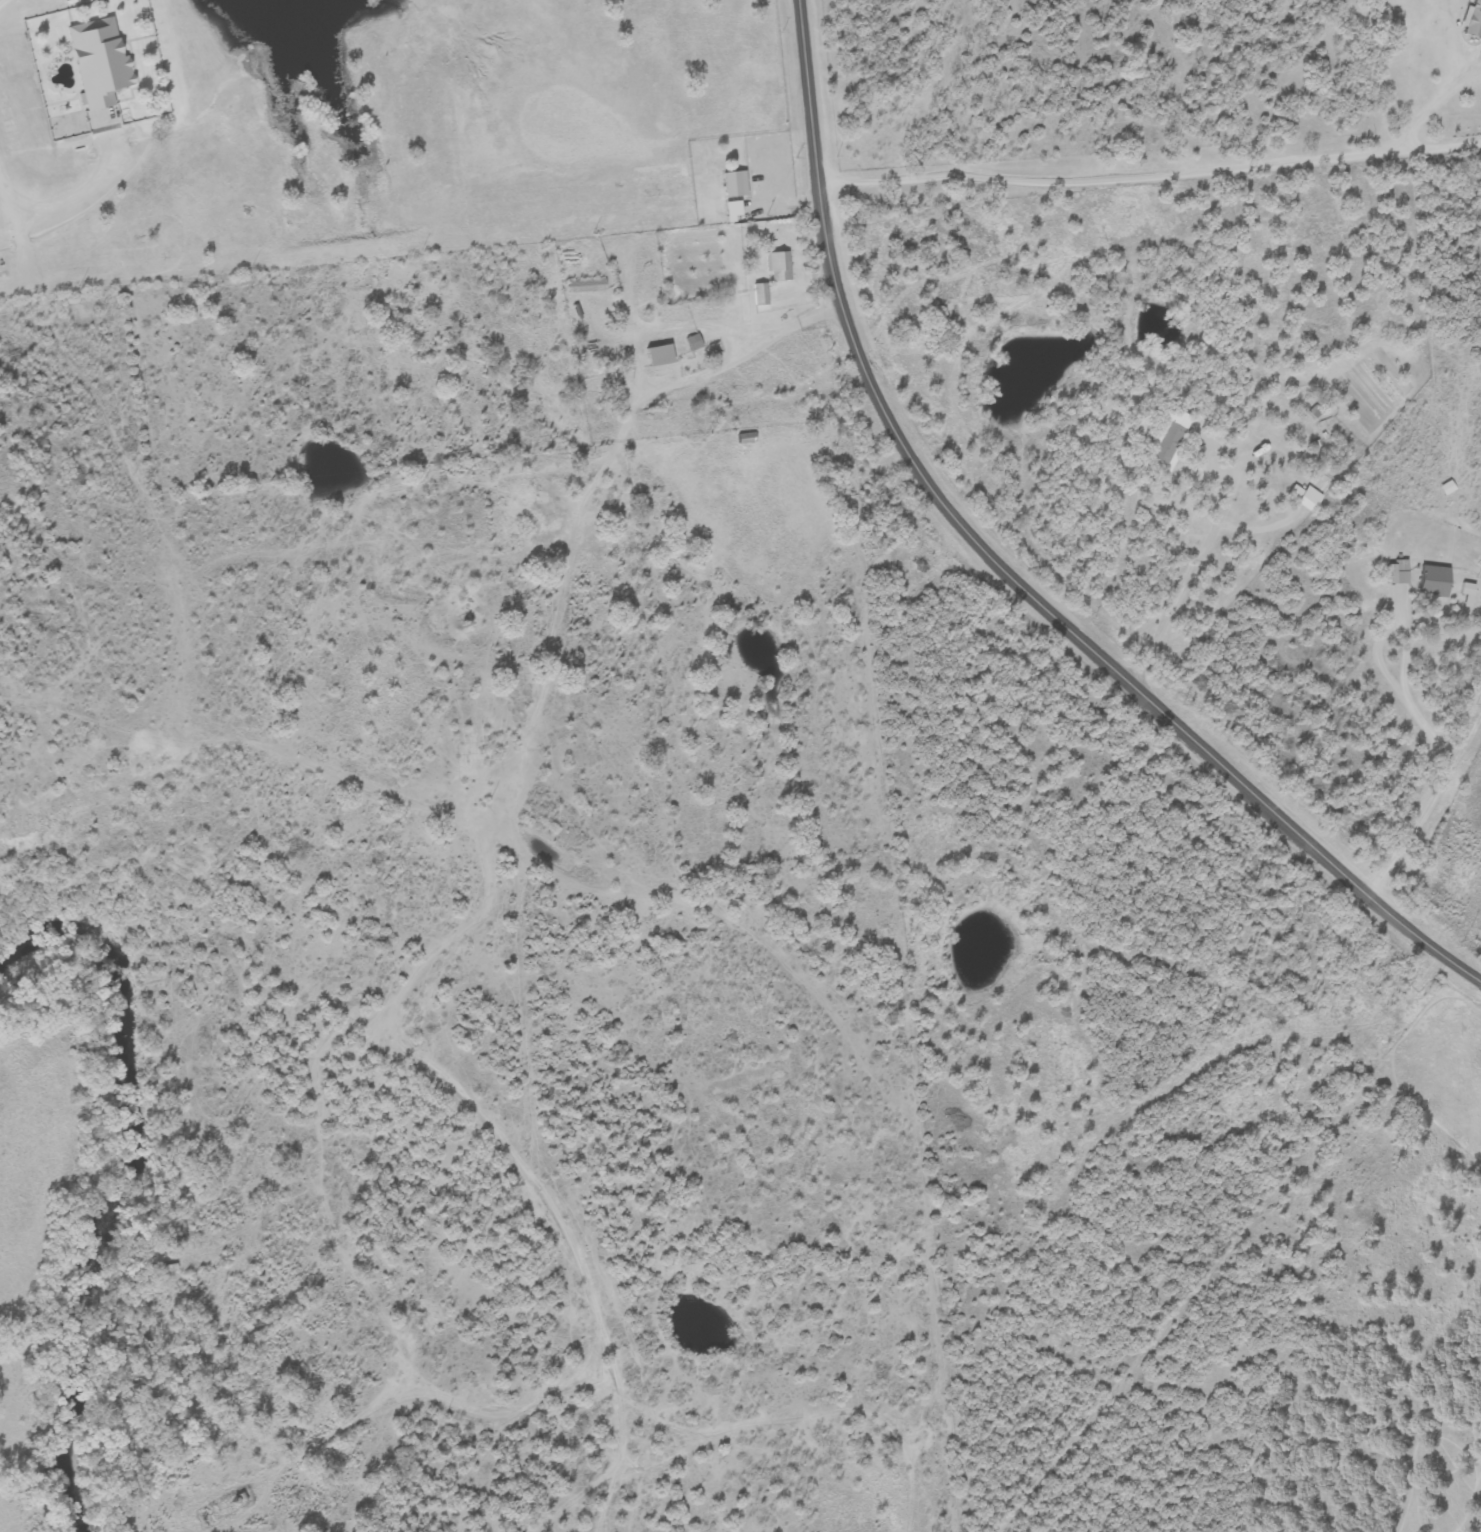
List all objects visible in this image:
building: (1474, 20)
building: (100, 61)
road: (1428, 147)
building: (736, 184)
road: (1028, 184)
building: (778, 266)
building: (587, 287)
building: (760, 295)
road: (750, 329)
building: (694, 343)
building: (660, 356)
building: (746, 438)
building: (1170, 438)
building: (1304, 498)
road: (1007, 570)
building: (1397, 577)
building: (1434, 582)
road: (1168, 608)
road: (1424, 723)
road: (332, 771)
road: (473, 922)
road: (365, 1295)

